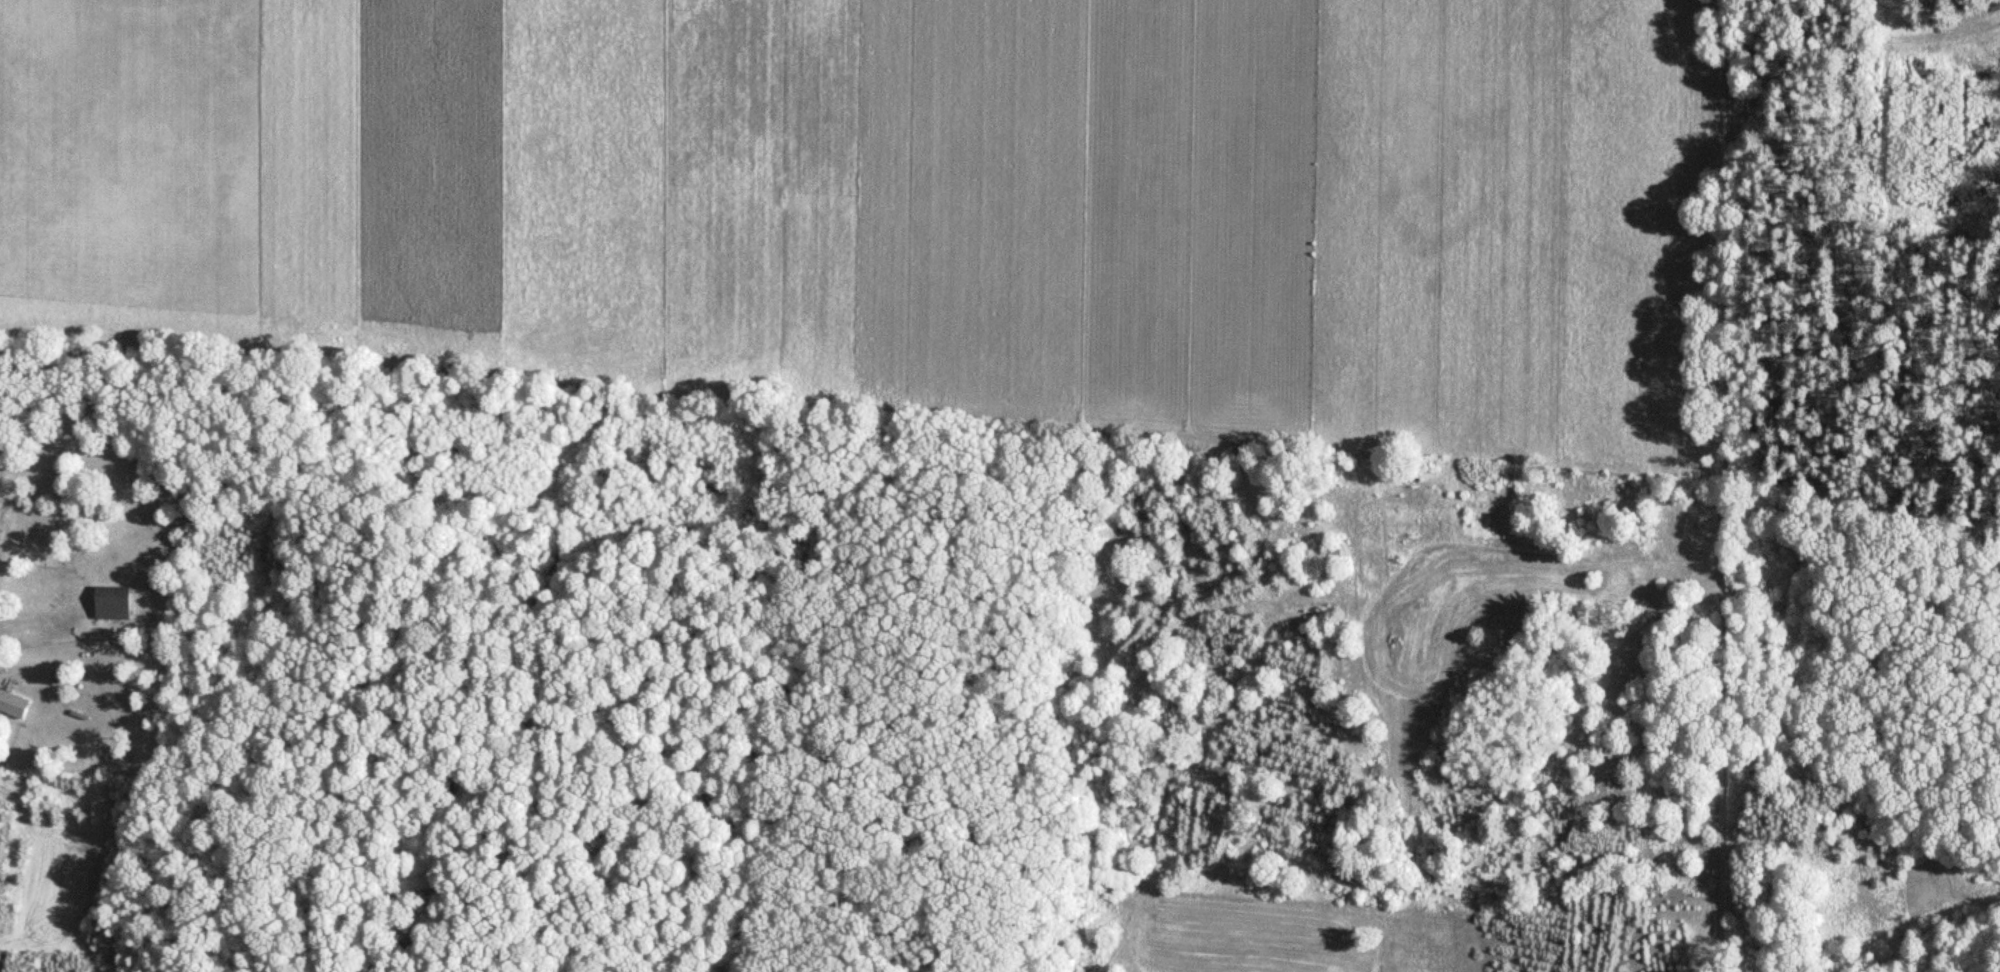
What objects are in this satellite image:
road: (1724, 486)
building: (110, 602)
road: (15, 658)
building: (11, 706)

